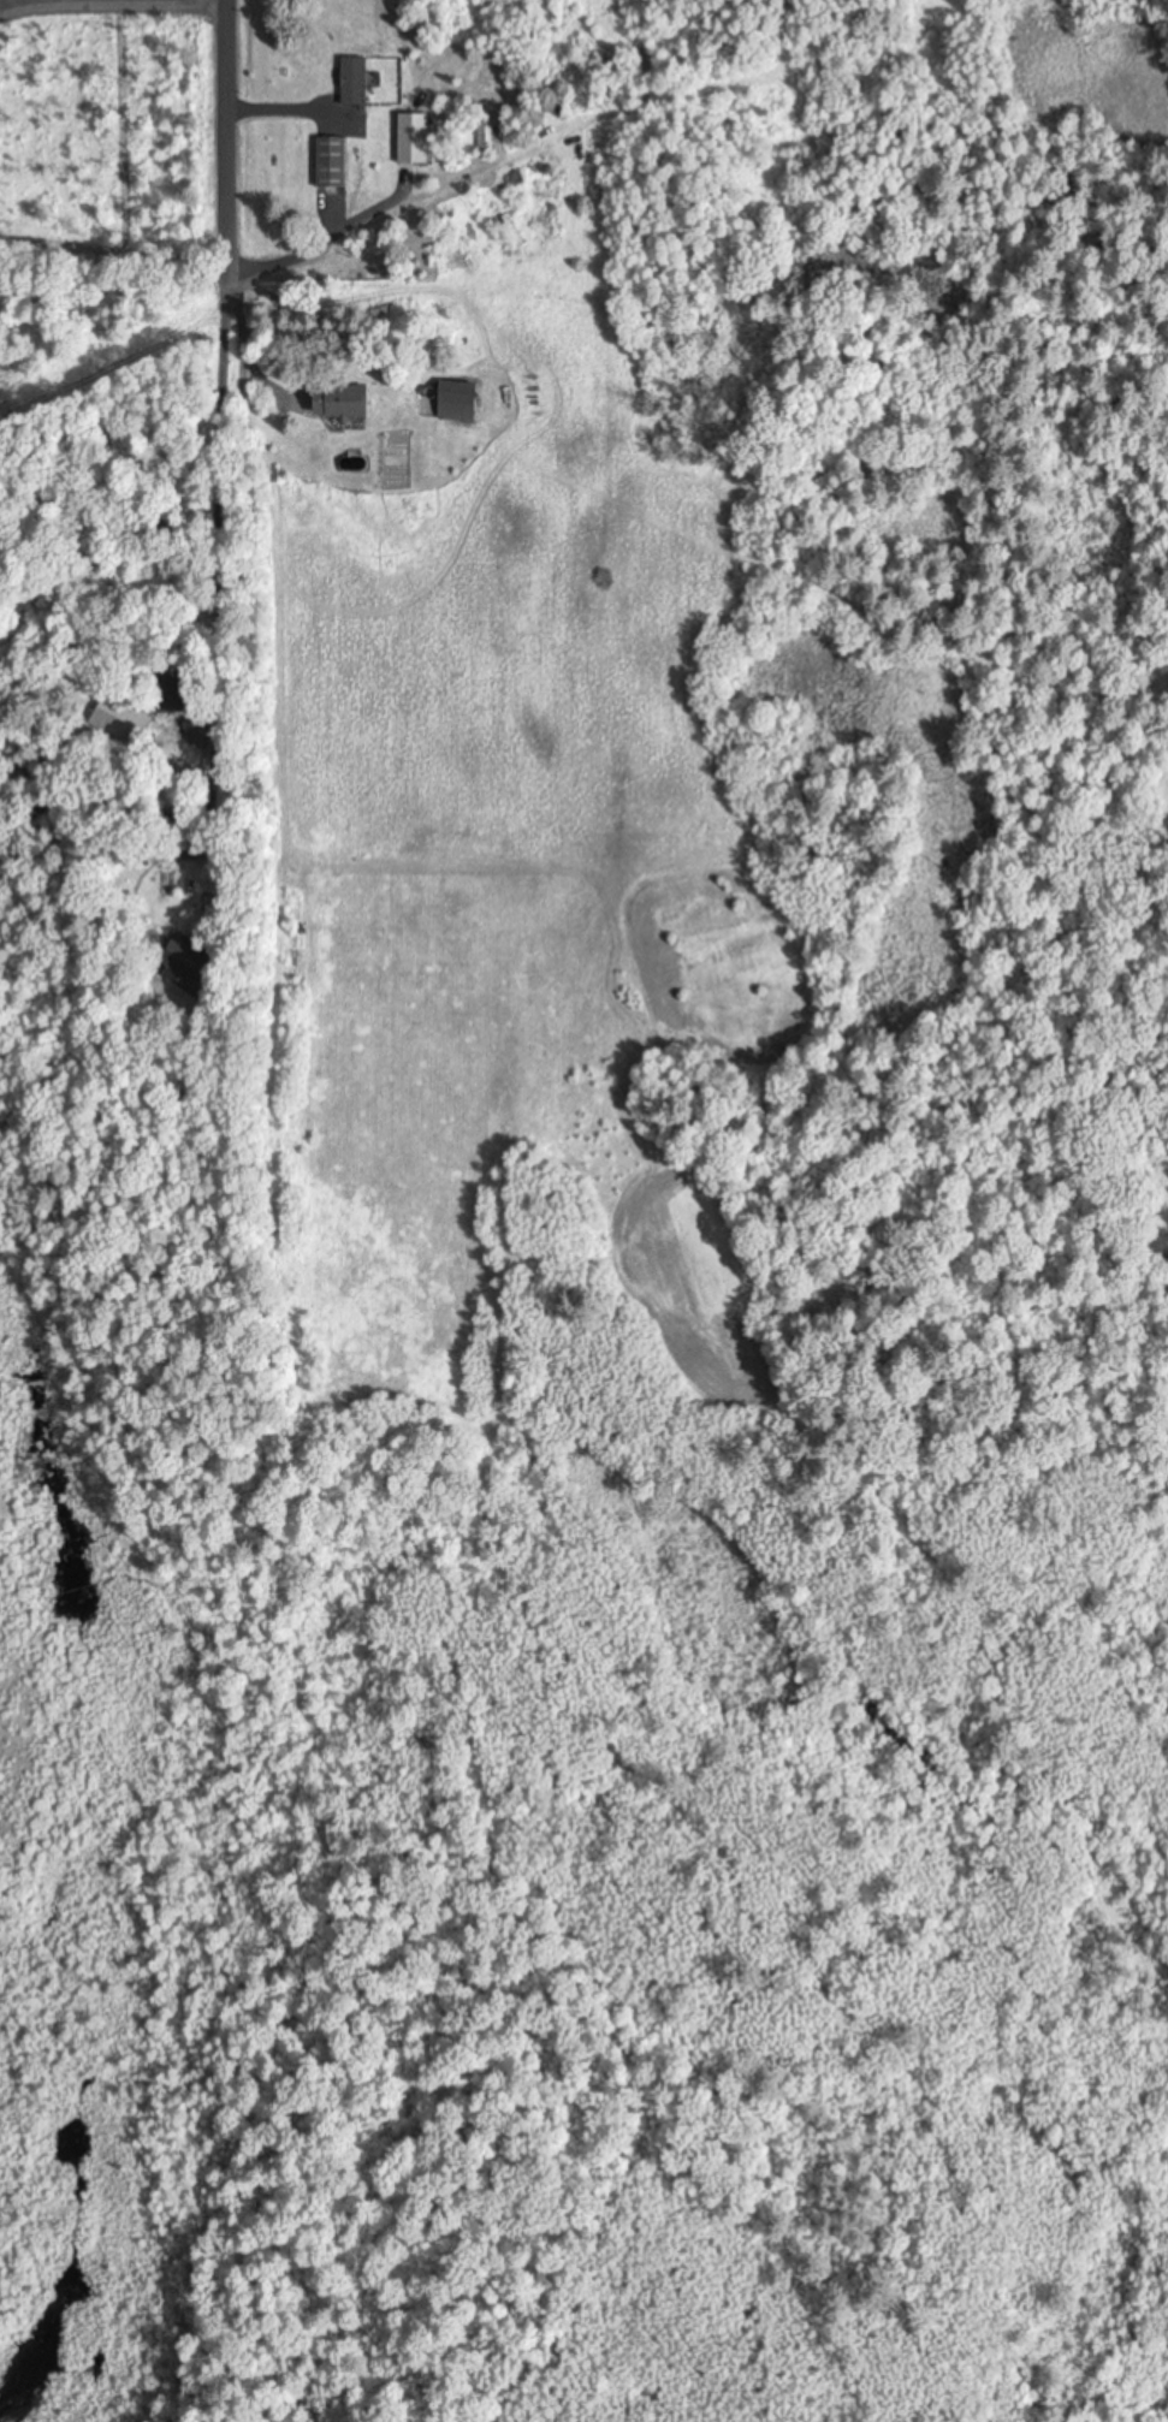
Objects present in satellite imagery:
building: (417, 137)
building: (334, 160)
building: (466, 399)
building: (355, 400)
road: (223, 428)
building: (121, 717)

